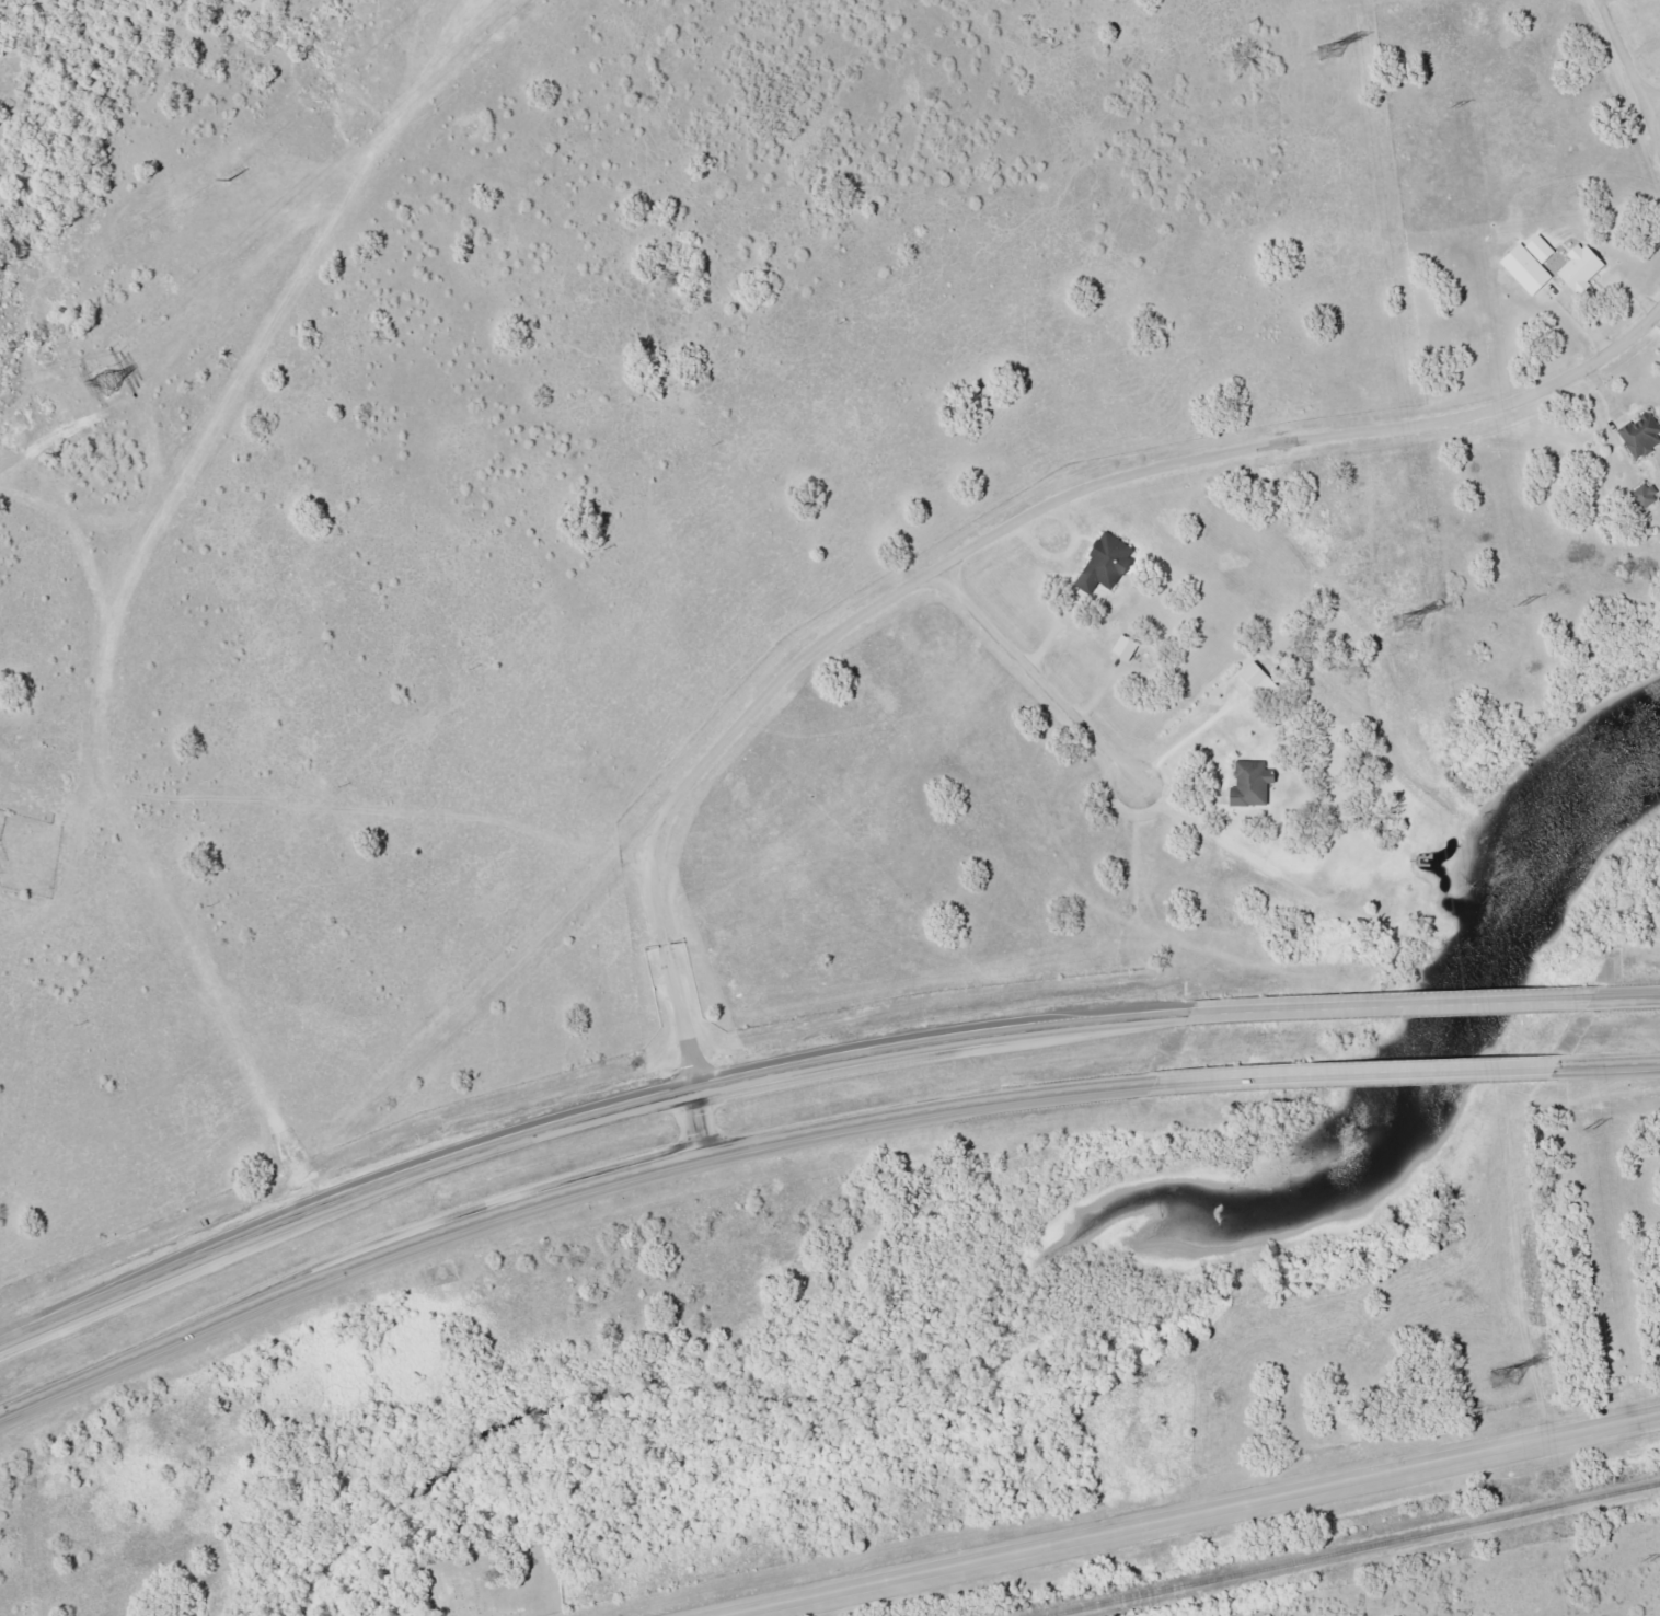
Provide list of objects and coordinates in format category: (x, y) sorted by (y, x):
power tower: (1327, 53)
road: (1628, 74)
road: (1647, 85)
power tower: (1449, 106)
building: (1578, 266)
power tower: (104, 383)
building: (1639, 435)
building: (1642, 495)
road: (966, 550)
power tower: (1514, 602)
power tower: (1405, 622)
road: (1039, 678)
road: (1630, 1001)
road: (1398, 1008)
road: (1610, 1062)
road: (1357, 1076)
road: (581, 1126)
power tower: (1584, 1129)
road: (560, 1189)
power tower: (1502, 1380)
road: (1183, 1512)
railway: (1352, 1548)
power tower: (1645, 1561)
park: (492, 1582)

